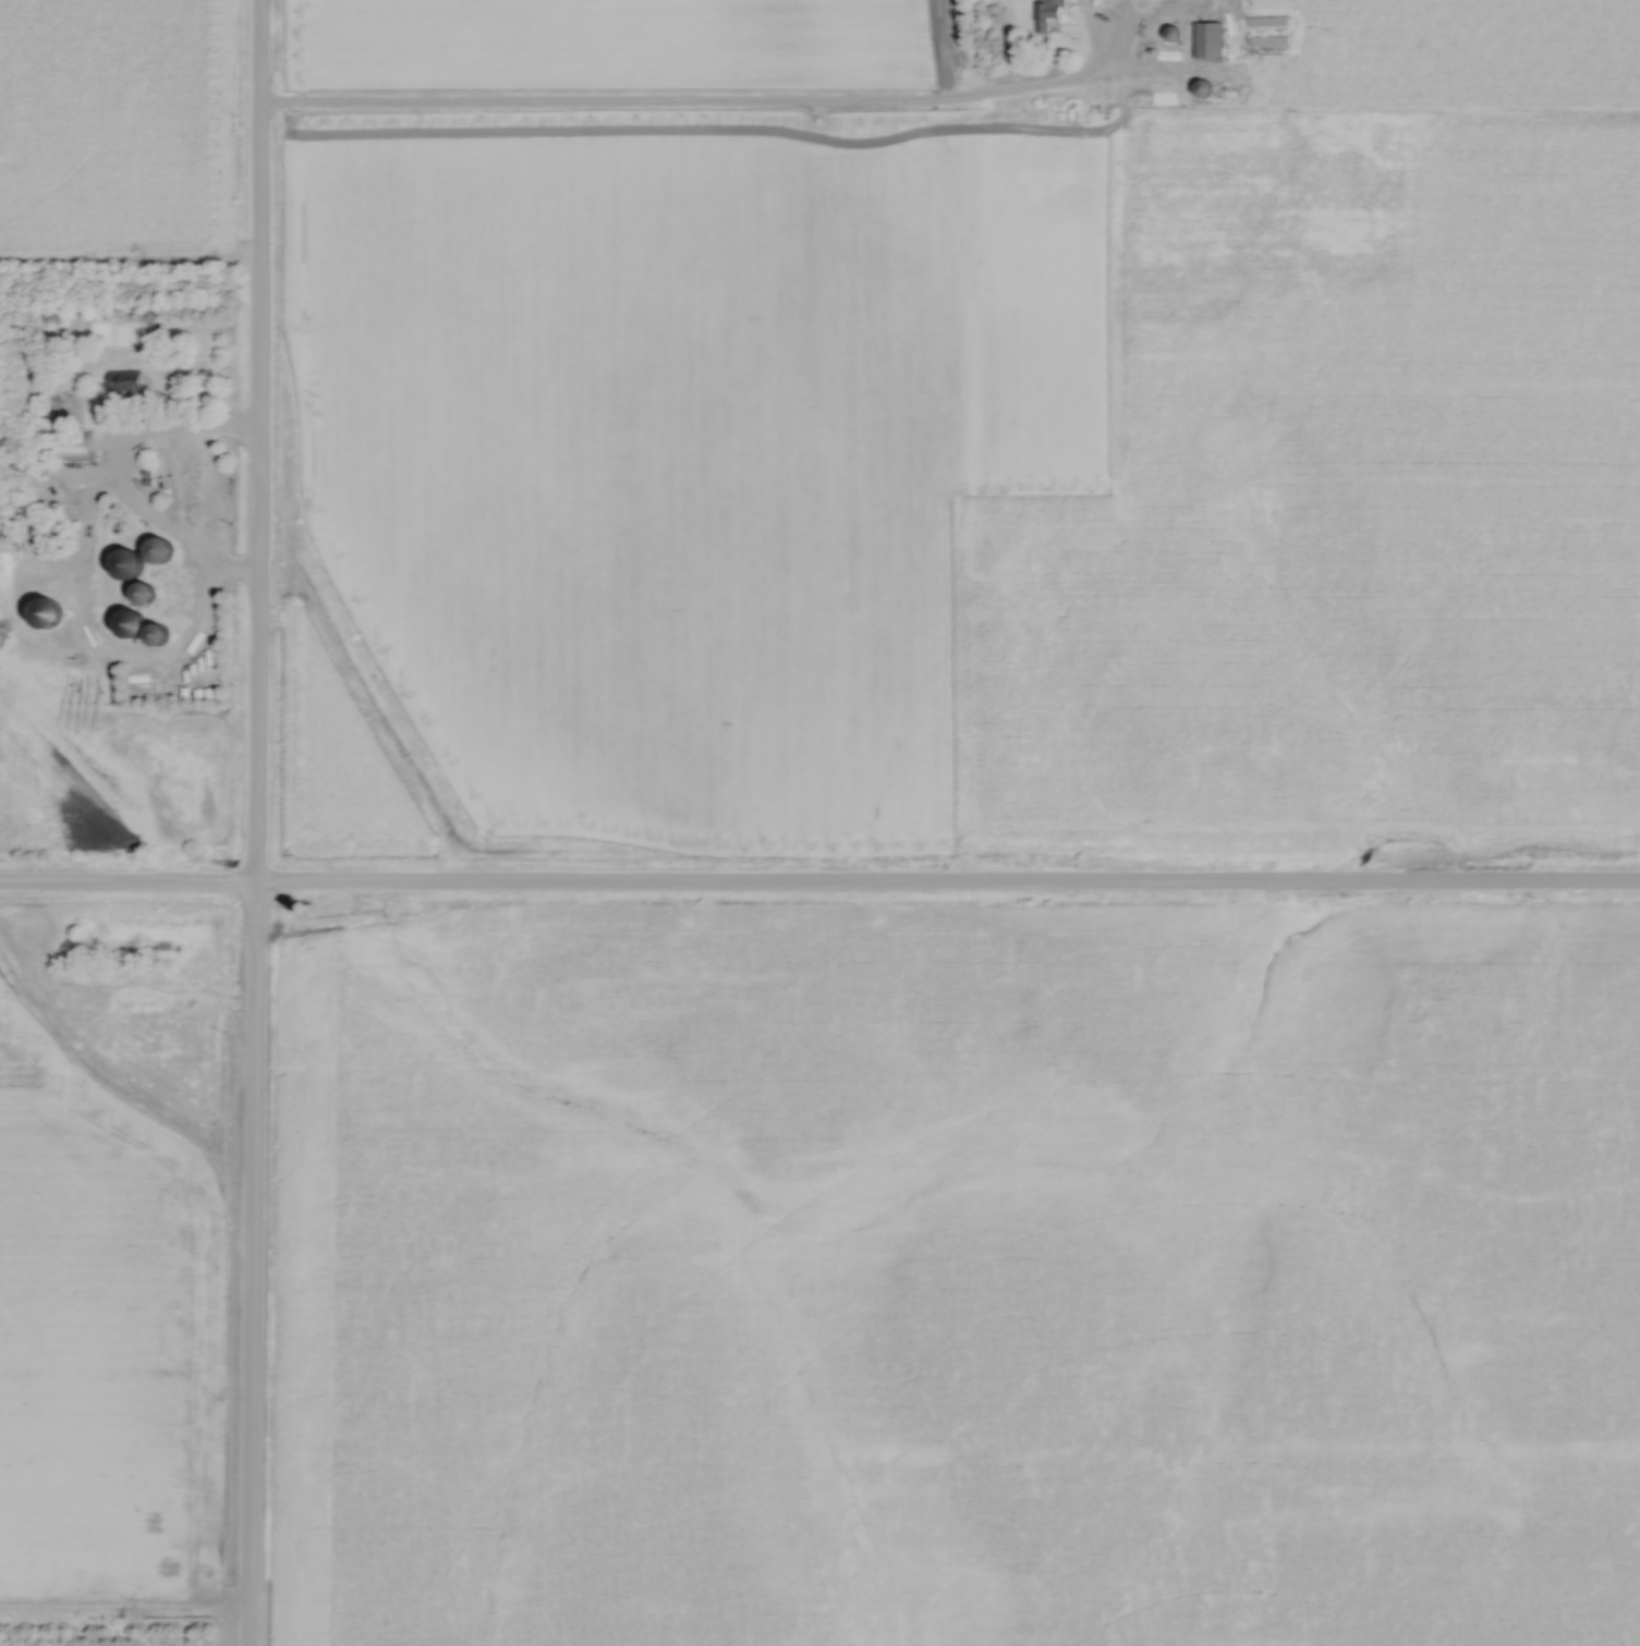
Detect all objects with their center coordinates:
building: (1050, 14)
building: (1267, 21)
building: (1174, 34)
building: (1211, 40)
building: (1268, 41)
building: (1265, 62)
building: (1201, 88)
building: (1229, 95)
road: (692, 109)
building: (129, 382)
building: (62, 406)
building: (73, 446)
road: (109, 485)
building: (154, 551)
building: (125, 564)
building: (141, 593)
building: (45, 613)
building: (129, 623)
building: (156, 634)
road: (253, 822)
road: (819, 889)

